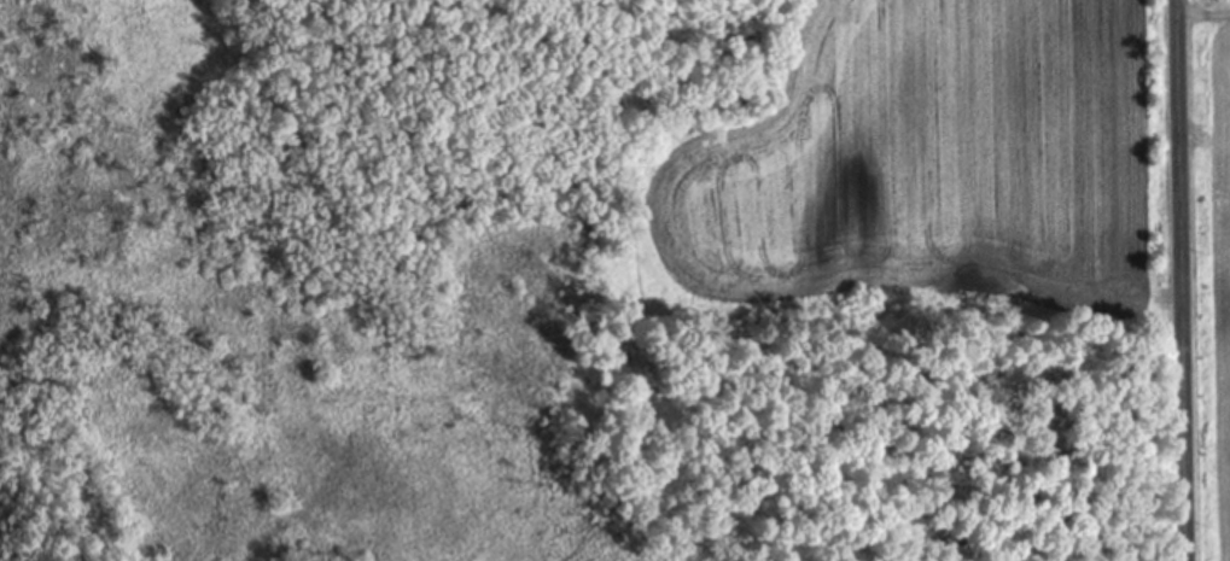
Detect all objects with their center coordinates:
road: (1181, 280)

